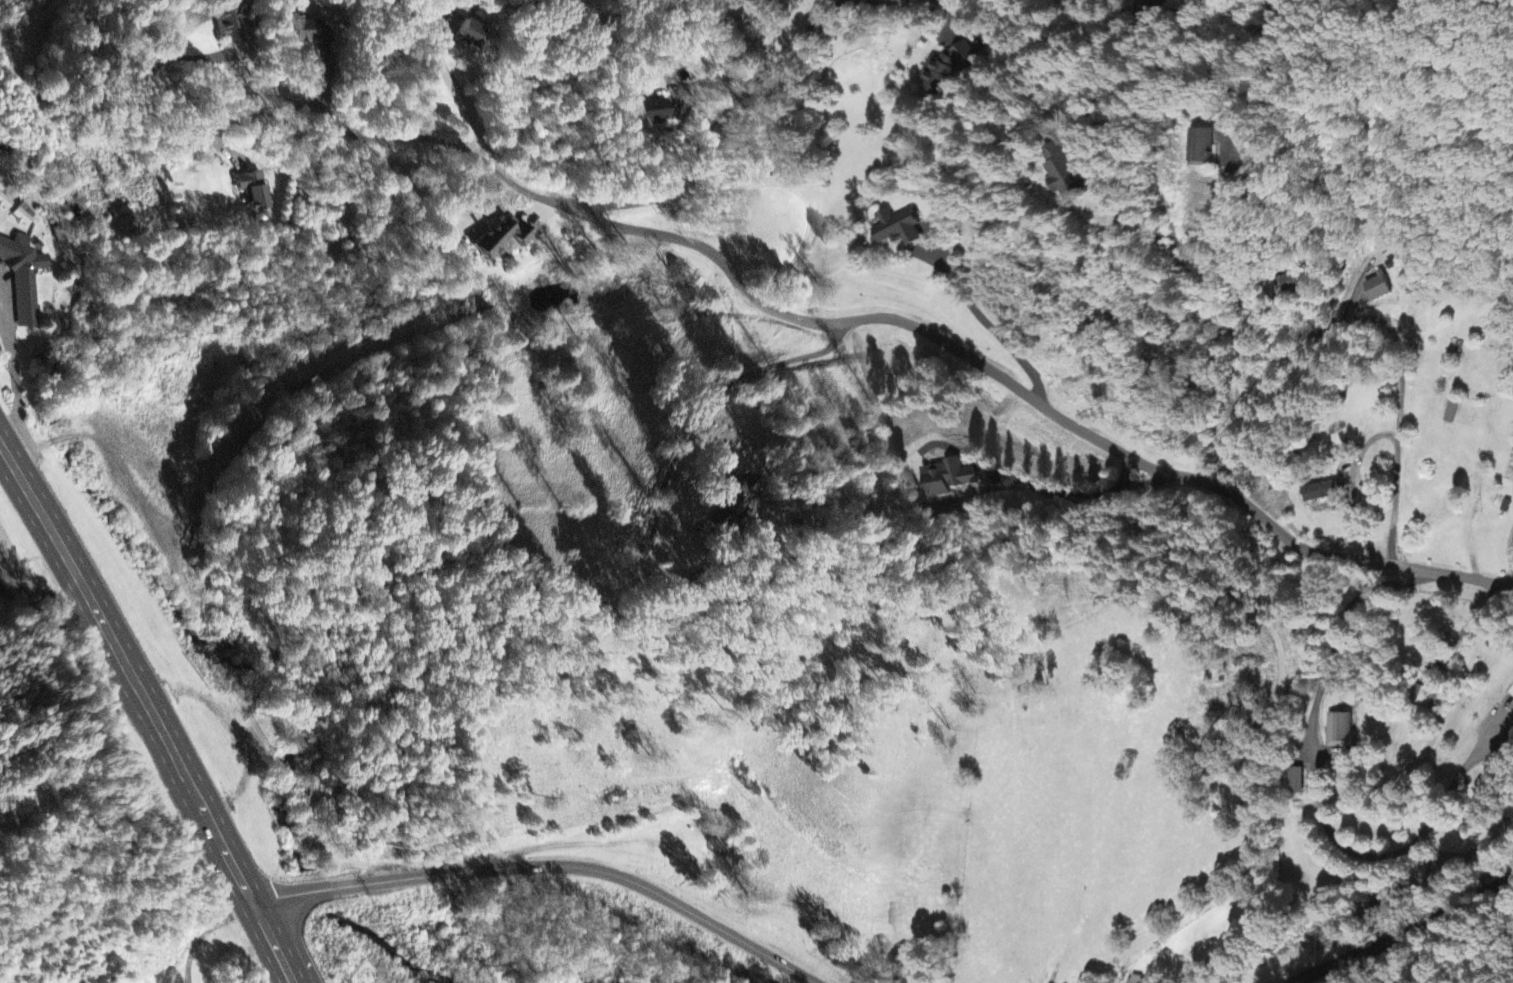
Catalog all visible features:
road: (1278, 1)
road: (1146, 3)
building: (230, 21)
building: (309, 33)
building: (470, 35)
building: (943, 71)
building: (651, 113)
road: (719, 122)
building: (1203, 147)
building: (1063, 172)
building: (253, 191)
building: (5, 203)
building: (24, 215)
building: (899, 229)
building: (503, 237)
building: (24, 278)
building: (1298, 279)
building: (1378, 288)
road: (789, 314)
road: (986, 318)
building: (1450, 414)
road: (1398, 433)
road: (5, 452)
road: (676, 458)
building: (949, 478)
building: (1320, 494)
building: (735, 501)
road: (41, 590)
building: (1511, 693)
building: (1423, 696)
building: (1511, 710)
road: (156, 719)
building: (1340, 731)
building: (1298, 782)
road: (544, 866)
road: (1406, 934)
building: (1138, 981)

